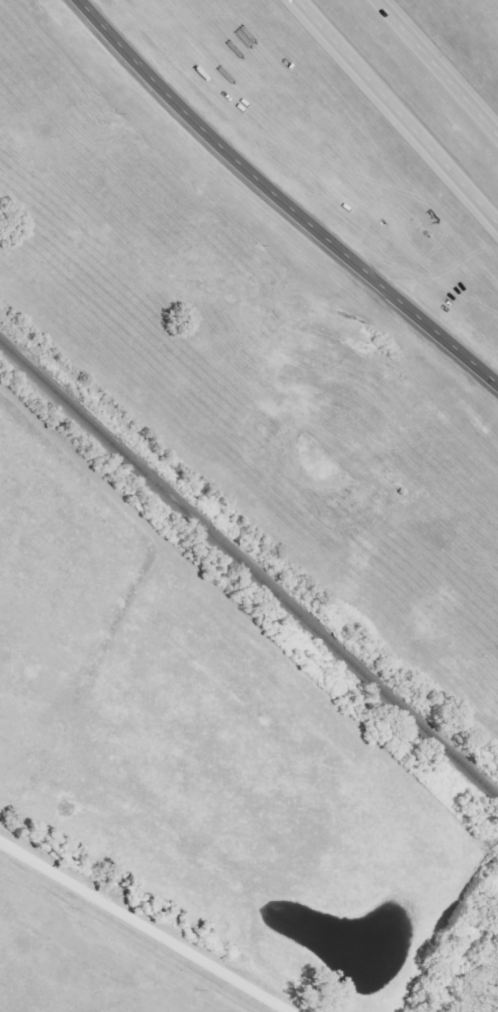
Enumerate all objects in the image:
road: (435, 69)
road: (395, 115)
road: (282, 199)
railway: (250, 570)
road: (143, 927)

